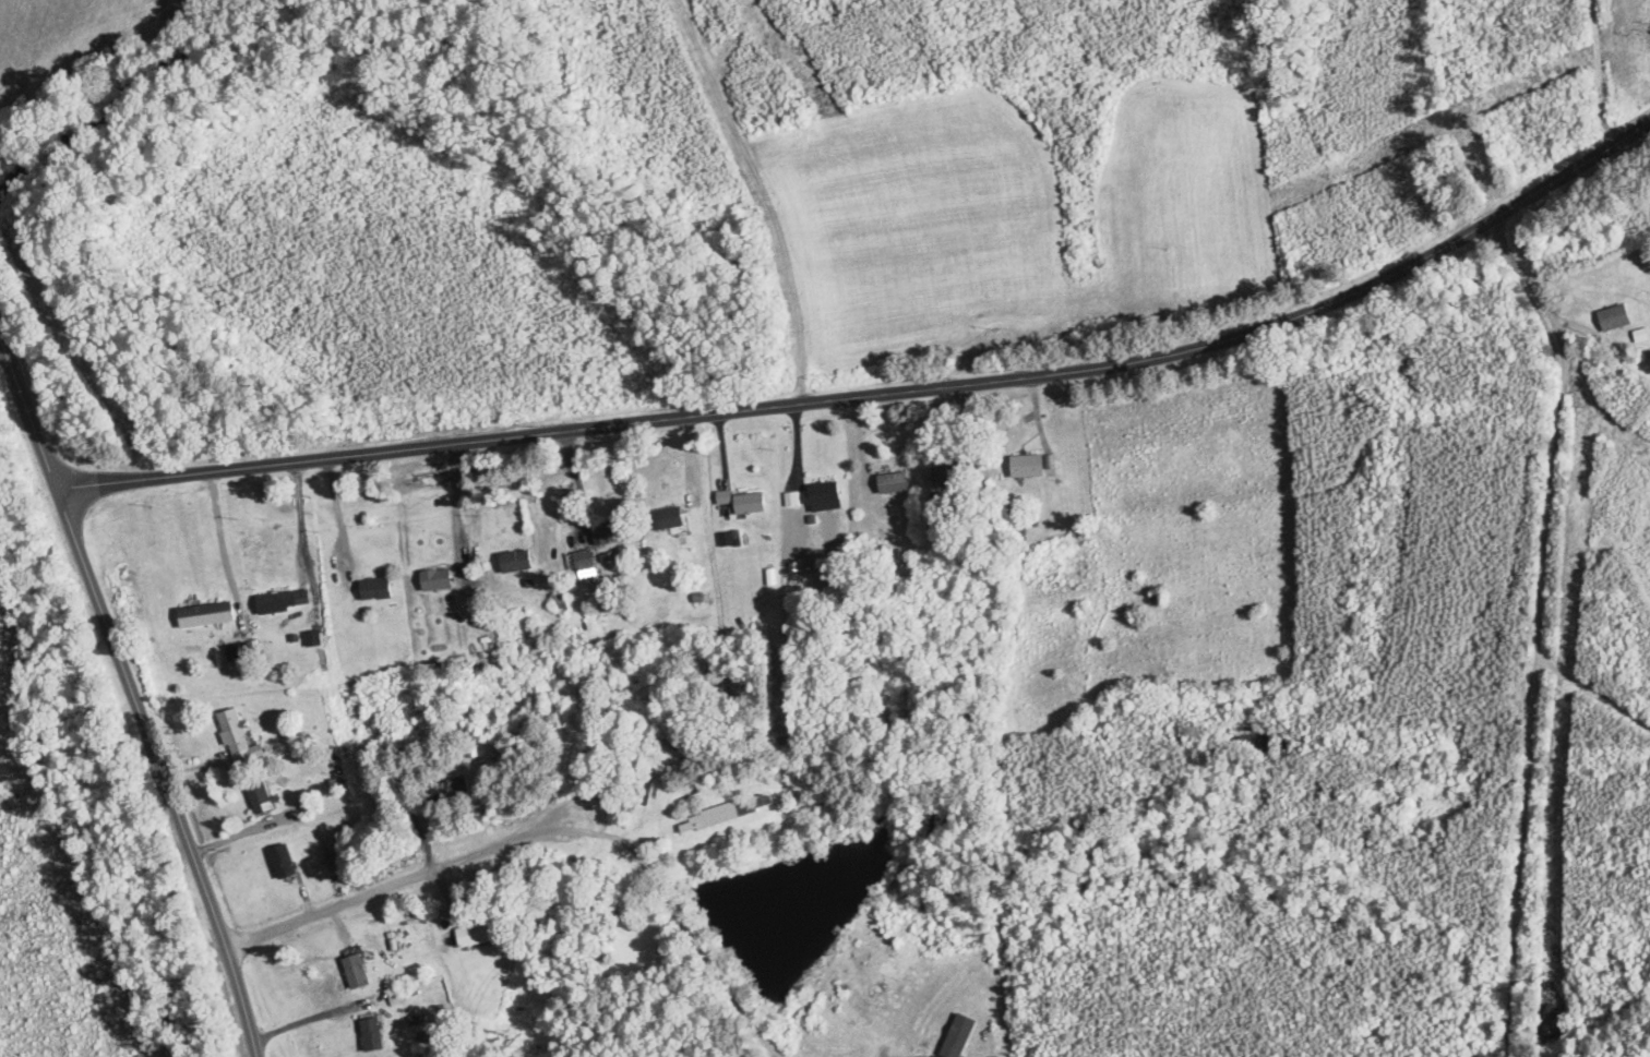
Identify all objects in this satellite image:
road: (1594, 75)
road: (751, 195)
building: (1613, 316)
road: (880, 395)
road: (28, 411)
building: (1032, 465)
building: (953, 472)
building: (893, 482)
building: (823, 496)
building: (749, 503)
road: (456, 511)
road: (339, 515)
building: (669, 518)
road: (301, 521)
building: (613, 531)
building: (515, 561)
building: (584, 561)
building: (435, 579)
building: (374, 589)
building: (283, 601)
building: (205, 614)
building: (311, 638)
building: (237, 651)
building: (237, 738)
road: (160, 771)
building: (449, 788)
building: (259, 795)
road: (555, 813)
building: (724, 813)
building: (283, 861)
building: (474, 934)
building: (358, 966)
building: (370, 1033)

